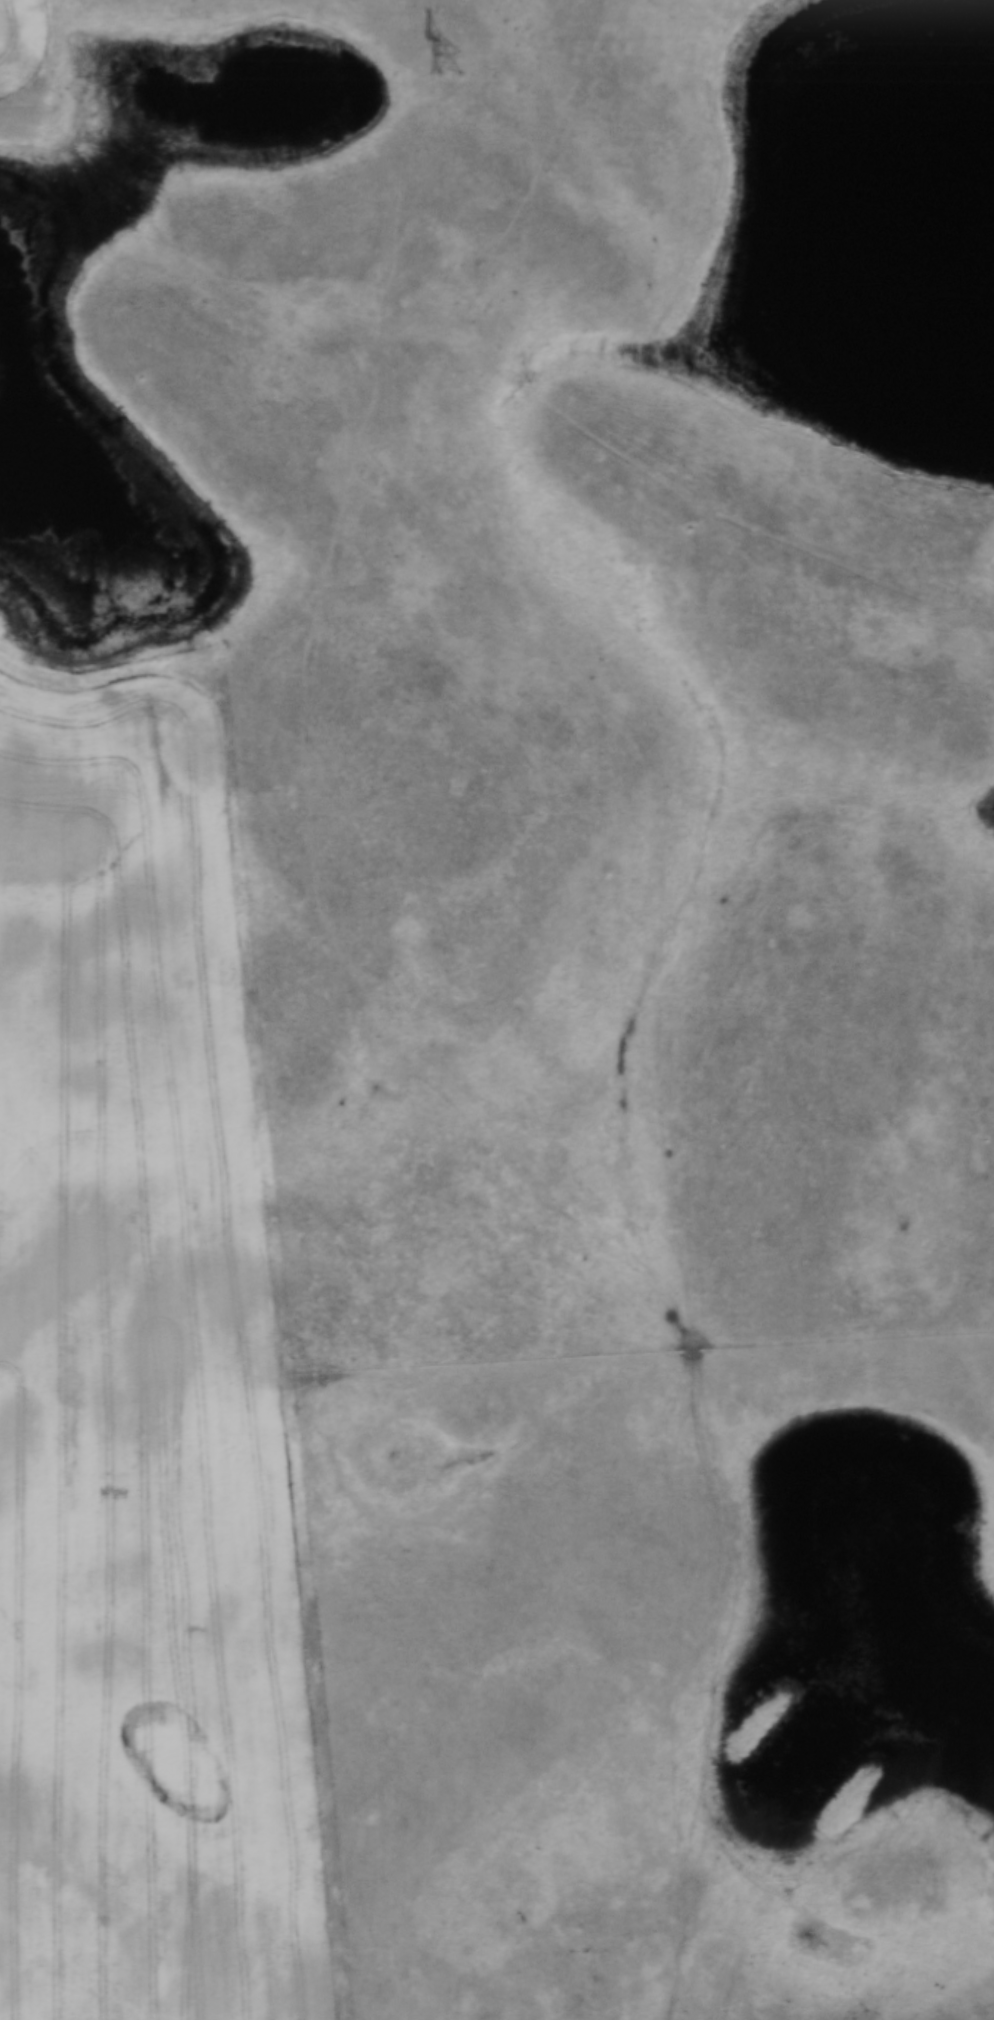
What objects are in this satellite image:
power tower: (450, 66)

